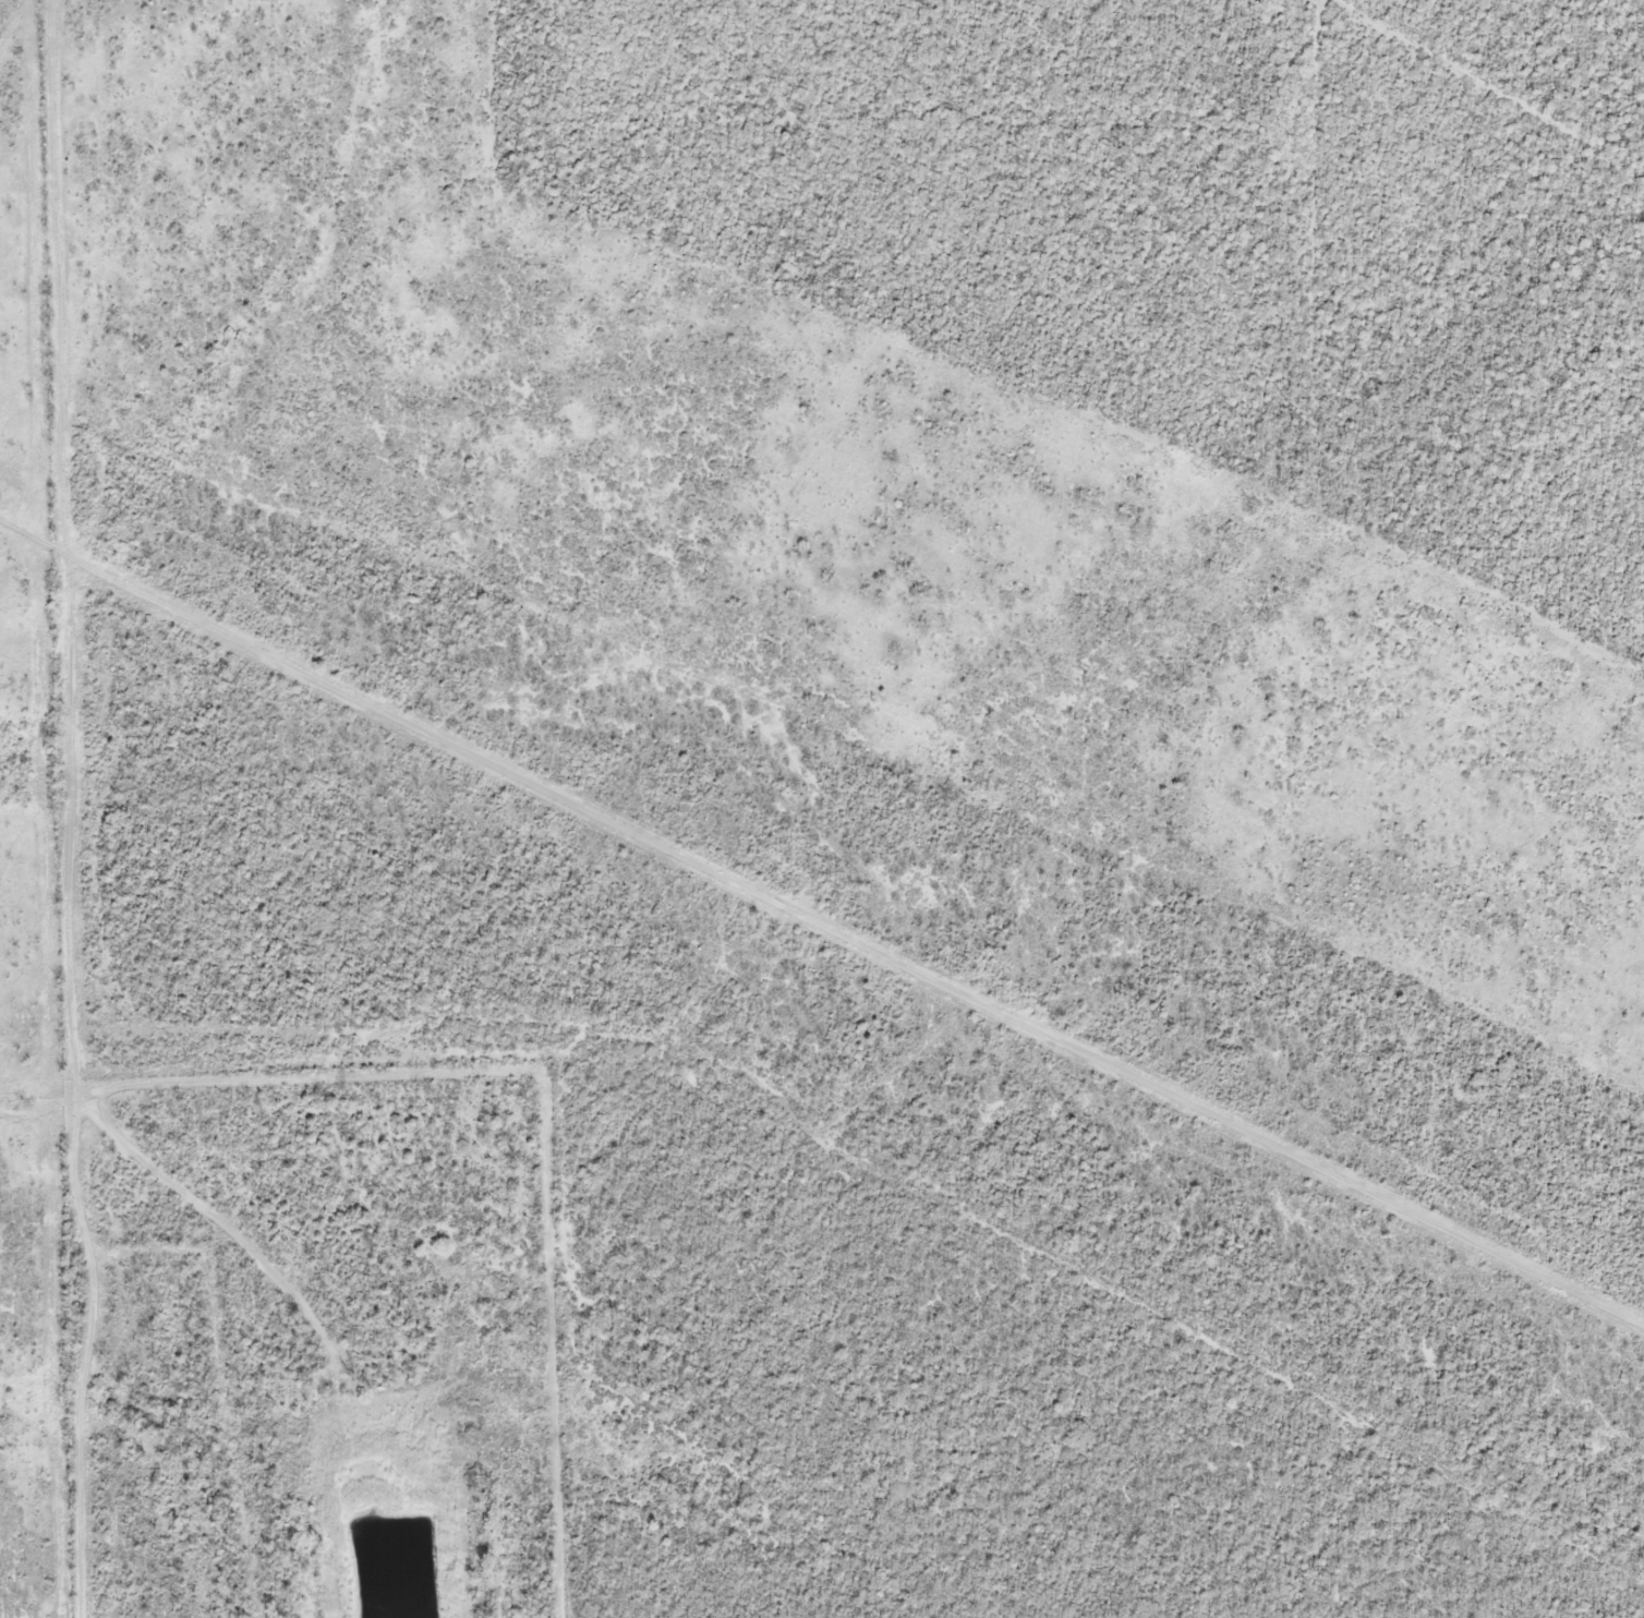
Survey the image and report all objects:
road: (822, 923)

